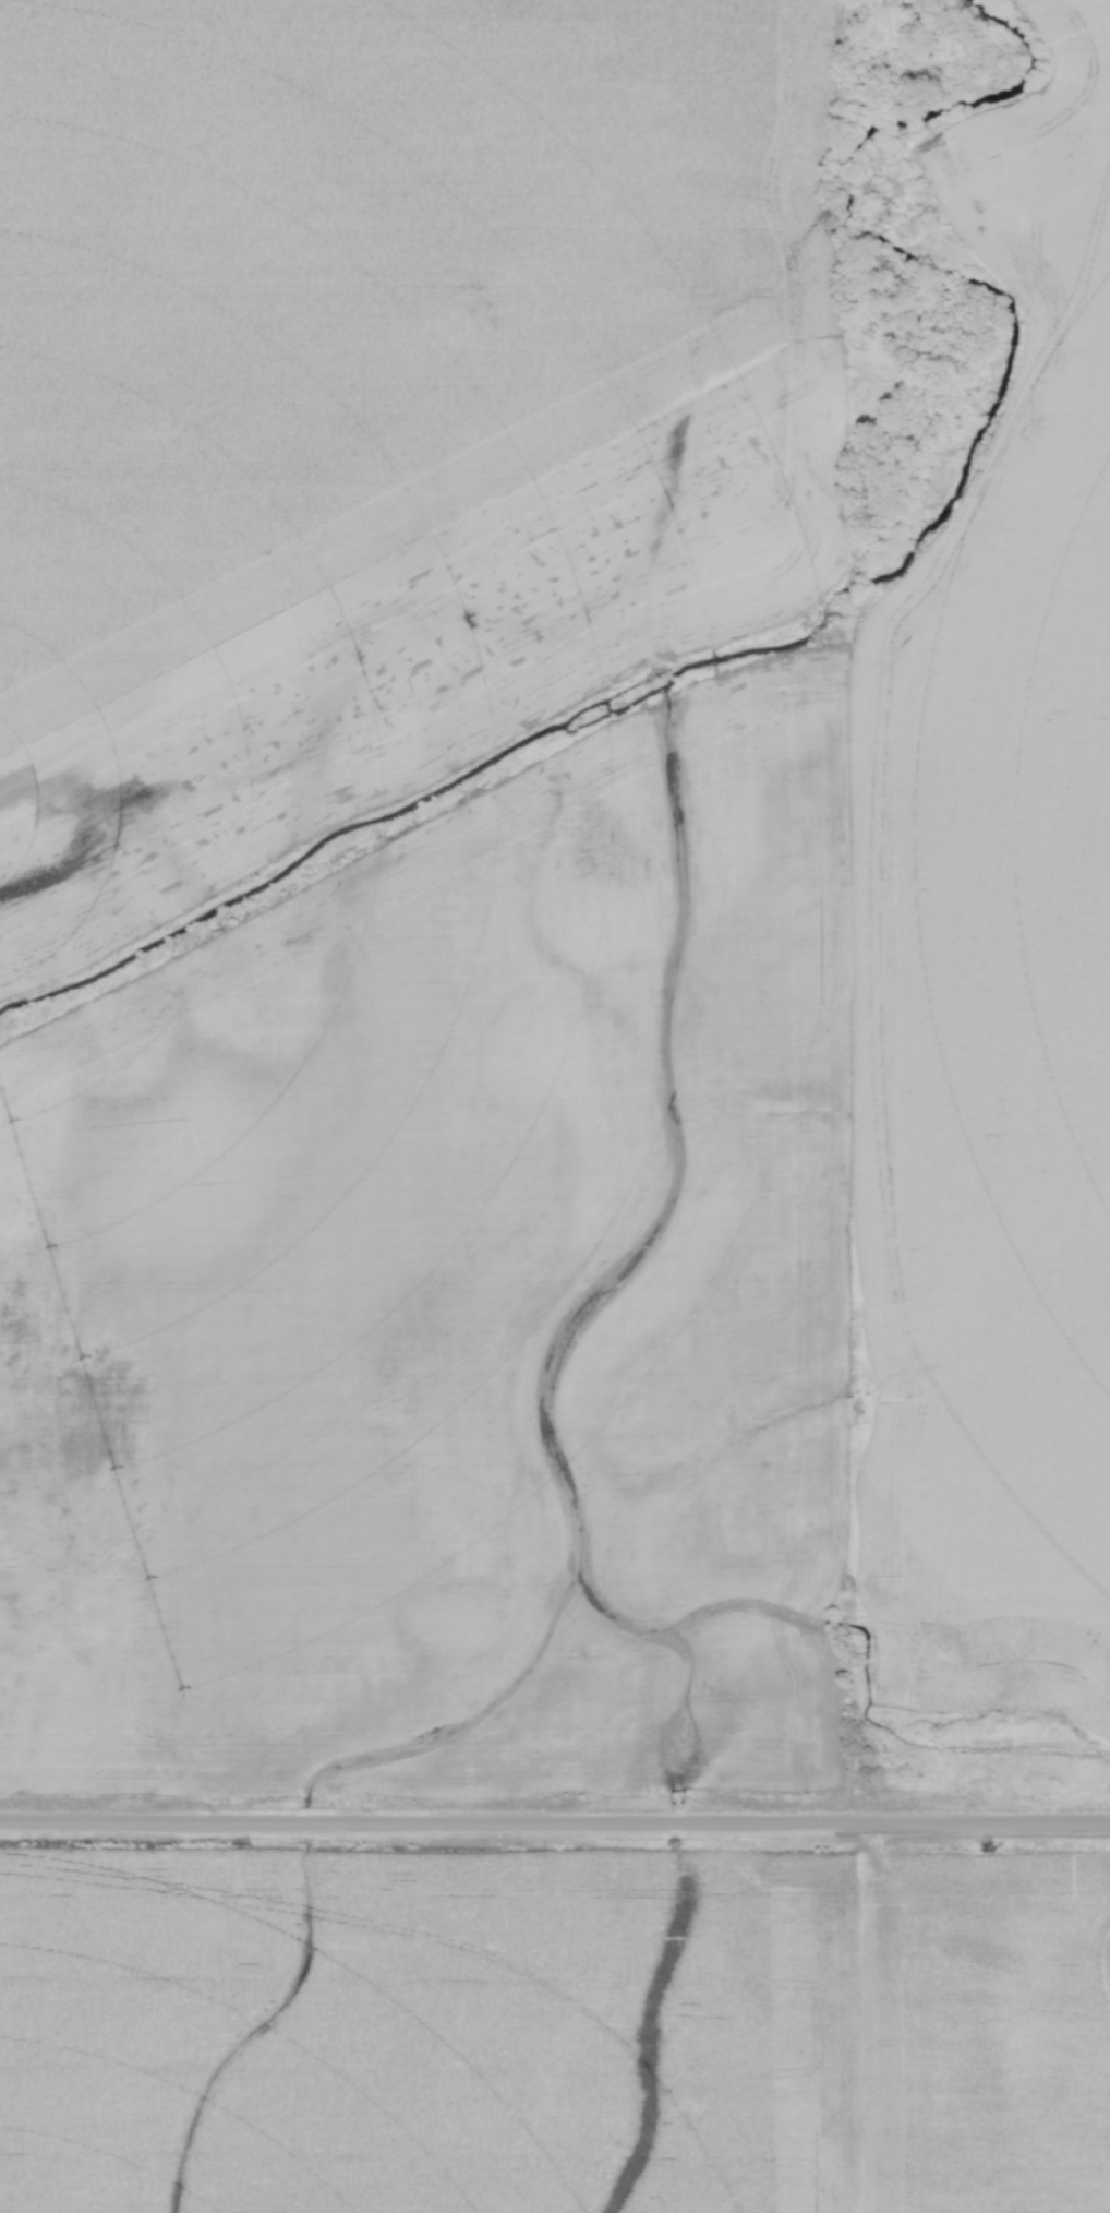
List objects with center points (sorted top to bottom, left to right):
road: (554, 1825)

